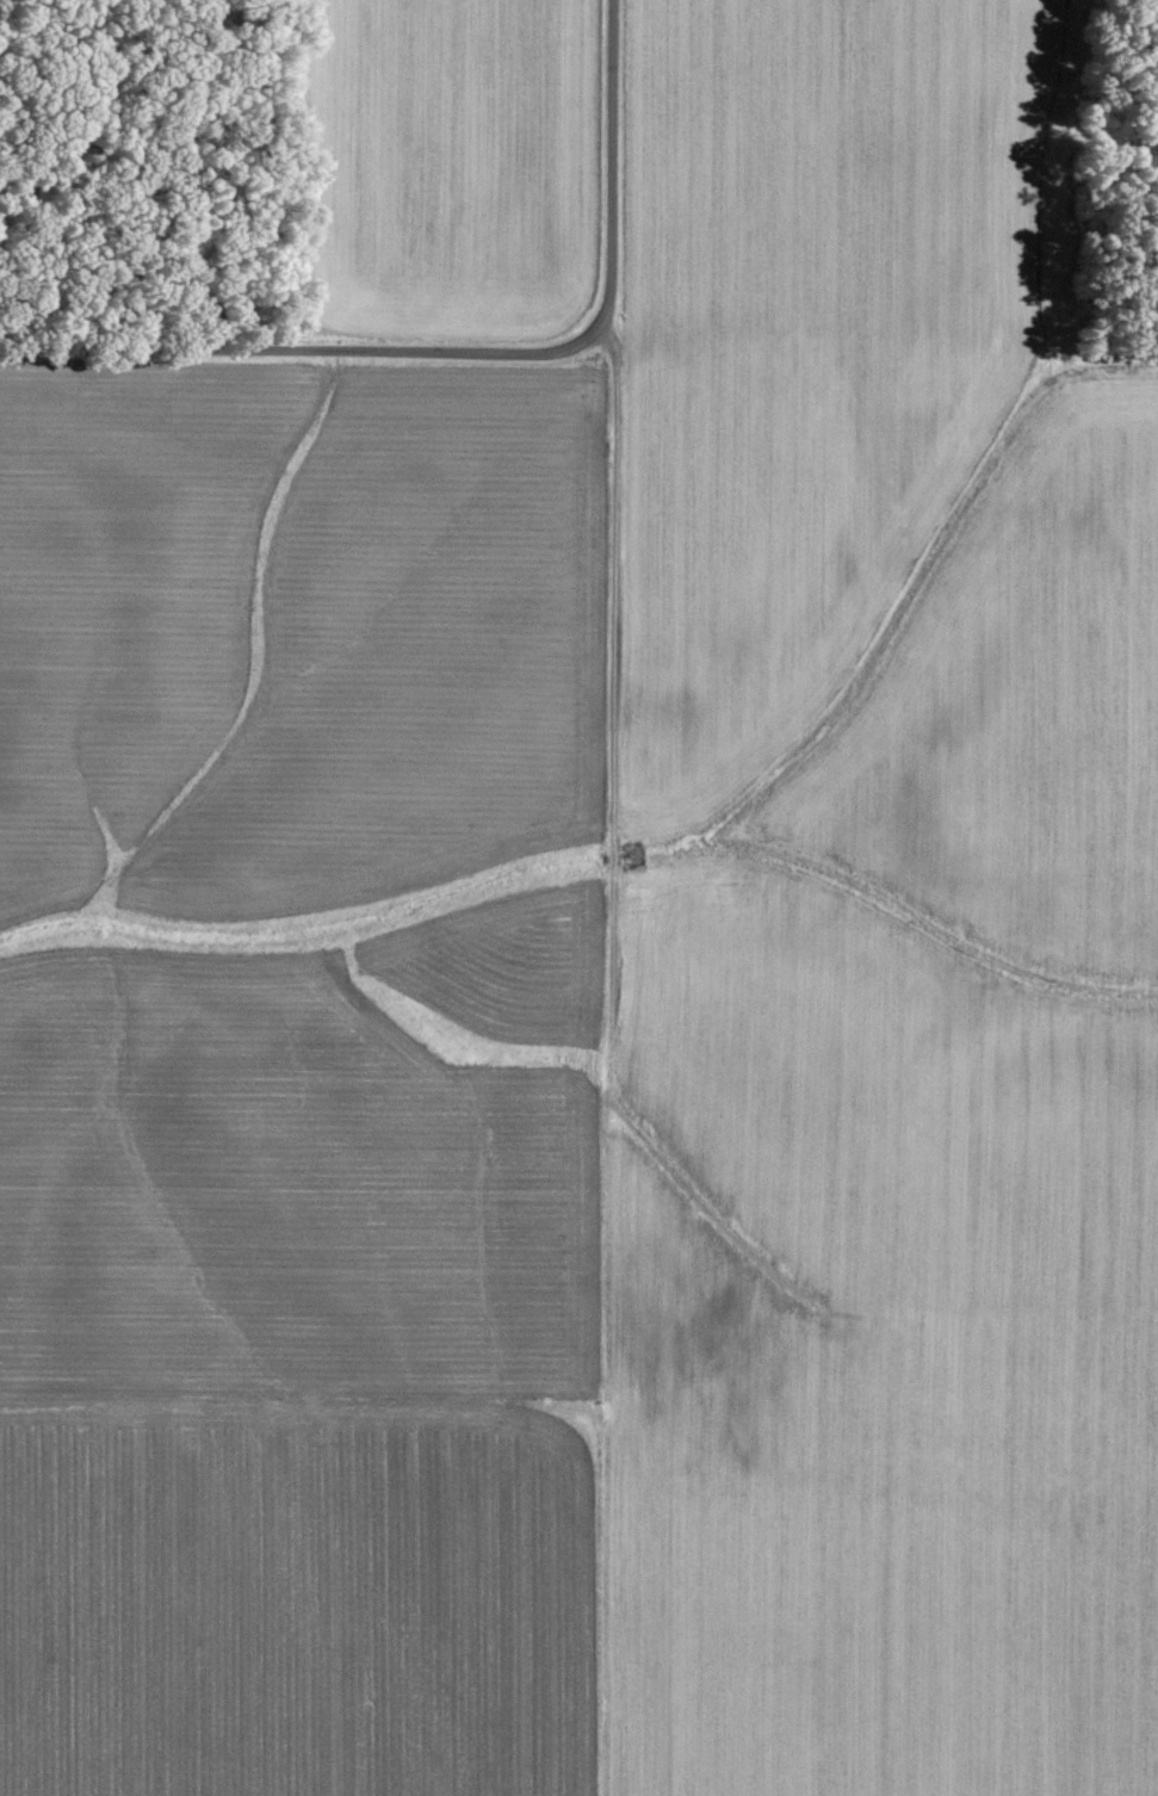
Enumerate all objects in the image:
road: (466, 351)
road: (605, 778)

